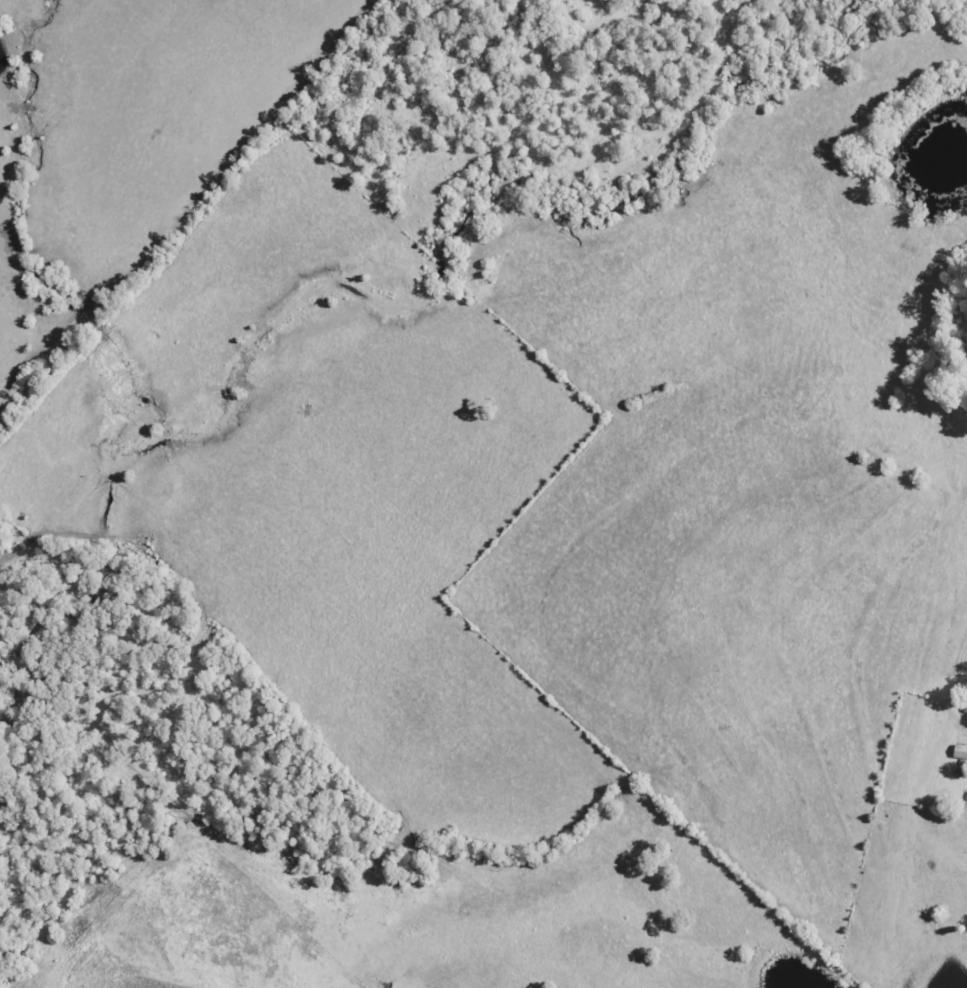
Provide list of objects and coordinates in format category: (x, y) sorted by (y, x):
road: (927, 665)
building: (960, 752)

